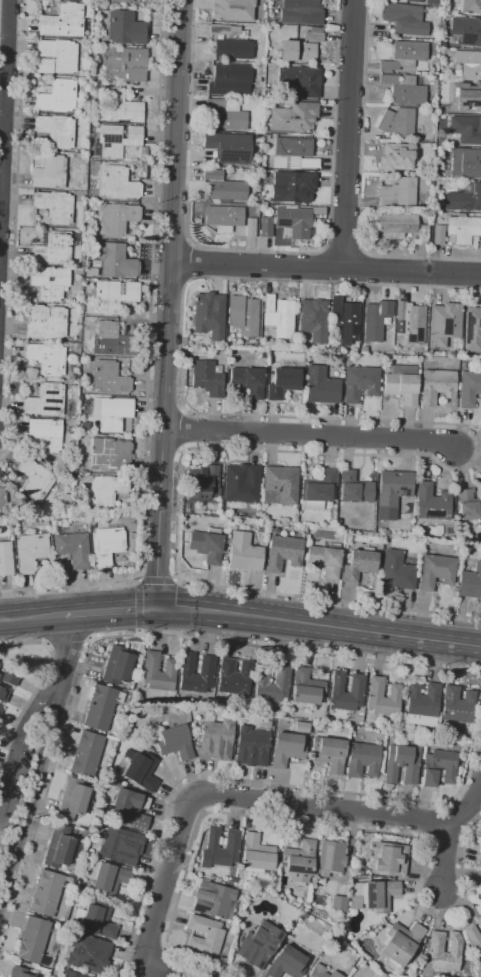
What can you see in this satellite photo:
building: (120, 1)
building: (414, 1)
building: (430, 2)
building: (470, 7)
building: (231, 10)
building: (300, 12)
building: (403, 19)
building: (61, 22)
building: (125, 28)
building: (222, 30)
building: (466, 30)
building: (301, 47)
building: (232, 49)
building: (403, 55)
building: (55, 57)
building: (123, 63)
building: (471, 69)
building: (299, 80)
building: (229, 81)
building: (403, 90)
road: (3, 92)
building: (464, 93)
building: (57, 96)
building: (119, 107)
road: (19, 112)
building: (223, 115)
building: (293, 117)
road: (189, 123)
road: (363, 123)
building: (400, 124)
building: (480, 124)
building: (55, 130)
road: (160, 131)
building: (467, 131)
road: (346, 135)
building: (117, 139)
building: (227, 147)
building: (295, 152)
building: (404, 158)
building: (465, 163)
building: (49, 173)
building: (118, 183)
building: (223, 187)
building: (292, 188)
road: (330, 192)
building: (398, 193)
building: (465, 200)
building: (54, 207)
building: (116, 218)
building: (222, 218)
building: (293, 221)
building: (264, 227)
building: (401, 227)
building: (250, 228)
building: (462, 228)
building: (437, 234)
road: (343, 244)
road: (172, 245)
building: (52, 250)
road: (417, 258)
building: (115, 261)
road: (188, 263)
road: (328, 263)
road: (360, 264)
road: (325, 270)
road: (170, 281)
building: (48, 282)
road: (262, 283)
building: (113, 295)
road: (167, 303)
building: (434, 312)
building: (400, 314)
building: (208, 315)
building: (242, 315)
building: (278, 317)
building: (344, 319)
building: (312, 320)
building: (375, 320)
building: (44, 322)
building: (414, 325)
building: (449, 326)
building: (472, 329)
building: (112, 340)
building: (196, 341)
road: (151, 345)
building: (46, 358)
building: (108, 378)
building: (205, 378)
building: (247, 381)
building: (282, 381)
building: (359, 383)
building: (400, 384)
building: (320, 386)
building: (437, 386)
building: (469, 388)
building: (45, 400)
building: (112, 414)
building: (44, 434)
road: (309, 437)
road: (421, 451)
building: (109, 455)
building: (34, 479)
building: (202, 482)
building: (281, 483)
building: (242, 486)
building: (354, 487)
building: (393, 488)
building: (106, 490)
building: (317, 491)
building: (2, 497)
building: (431, 503)
road: (145, 505)
building: (468, 506)
building: (385, 520)
building: (106, 545)
building: (206, 545)
building: (72, 549)
building: (29, 551)
building: (243, 553)
building: (283, 553)
building: (5, 558)
building: (324, 561)
building: (359, 565)
building: (397, 571)
building: (436, 571)
road: (157, 580)
building: (470, 583)
road: (69, 587)
road: (328, 600)
road: (139, 607)
traffic signals: (157, 608)
road: (110, 610)
road: (32, 617)
road: (319, 624)
road: (124, 635)
road: (67, 650)
building: (117, 665)
building: (150, 665)
building: (207, 665)
building: (234, 677)
building: (10, 678)
building: (356, 683)
building: (273, 684)
road: (37, 686)
building: (306, 689)
building: (3, 695)
building: (383, 697)
building: (423, 702)
building: (458, 704)
building: (0, 707)
building: (101, 707)
building: (0, 710)
building: (418, 720)
building: (216, 738)
building: (175, 742)
road: (19, 743)
building: (251, 747)
building: (286, 749)
building: (329, 753)
building: (86, 754)
building: (364, 760)
building: (393, 765)
building: (439, 767)
building: (140, 769)
road: (254, 781)
road: (30, 793)
road: (252, 795)
building: (73, 799)
road: (467, 806)
building: (130, 808)
road: (434, 822)
road: (312, 825)
building: (120, 845)
building: (60, 847)
building: (220, 848)
building: (480, 849)
building: (256, 854)
building: (331, 857)
building: (388, 858)
building: (479, 860)
building: (300, 861)
road: (446, 862)
building: (106, 877)
building: (234, 880)
building: (480, 881)
building: (67, 883)
building: (46, 893)
building: (374, 895)
building: (214, 899)
building: (338, 903)
building: (98, 920)
building: (205, 935)
building: (474, 936)
building: (33, 940)
building: (401, 942)
road: (148, 943)
building: (258, 945)
building: (435, 946)
building: (88, 953)
road: (162, 962)
building: (286, 963)
road: (165, 969)
building: (19, 972)
building: (322, 972)
building: (71, 974)
road: (124, 975)

